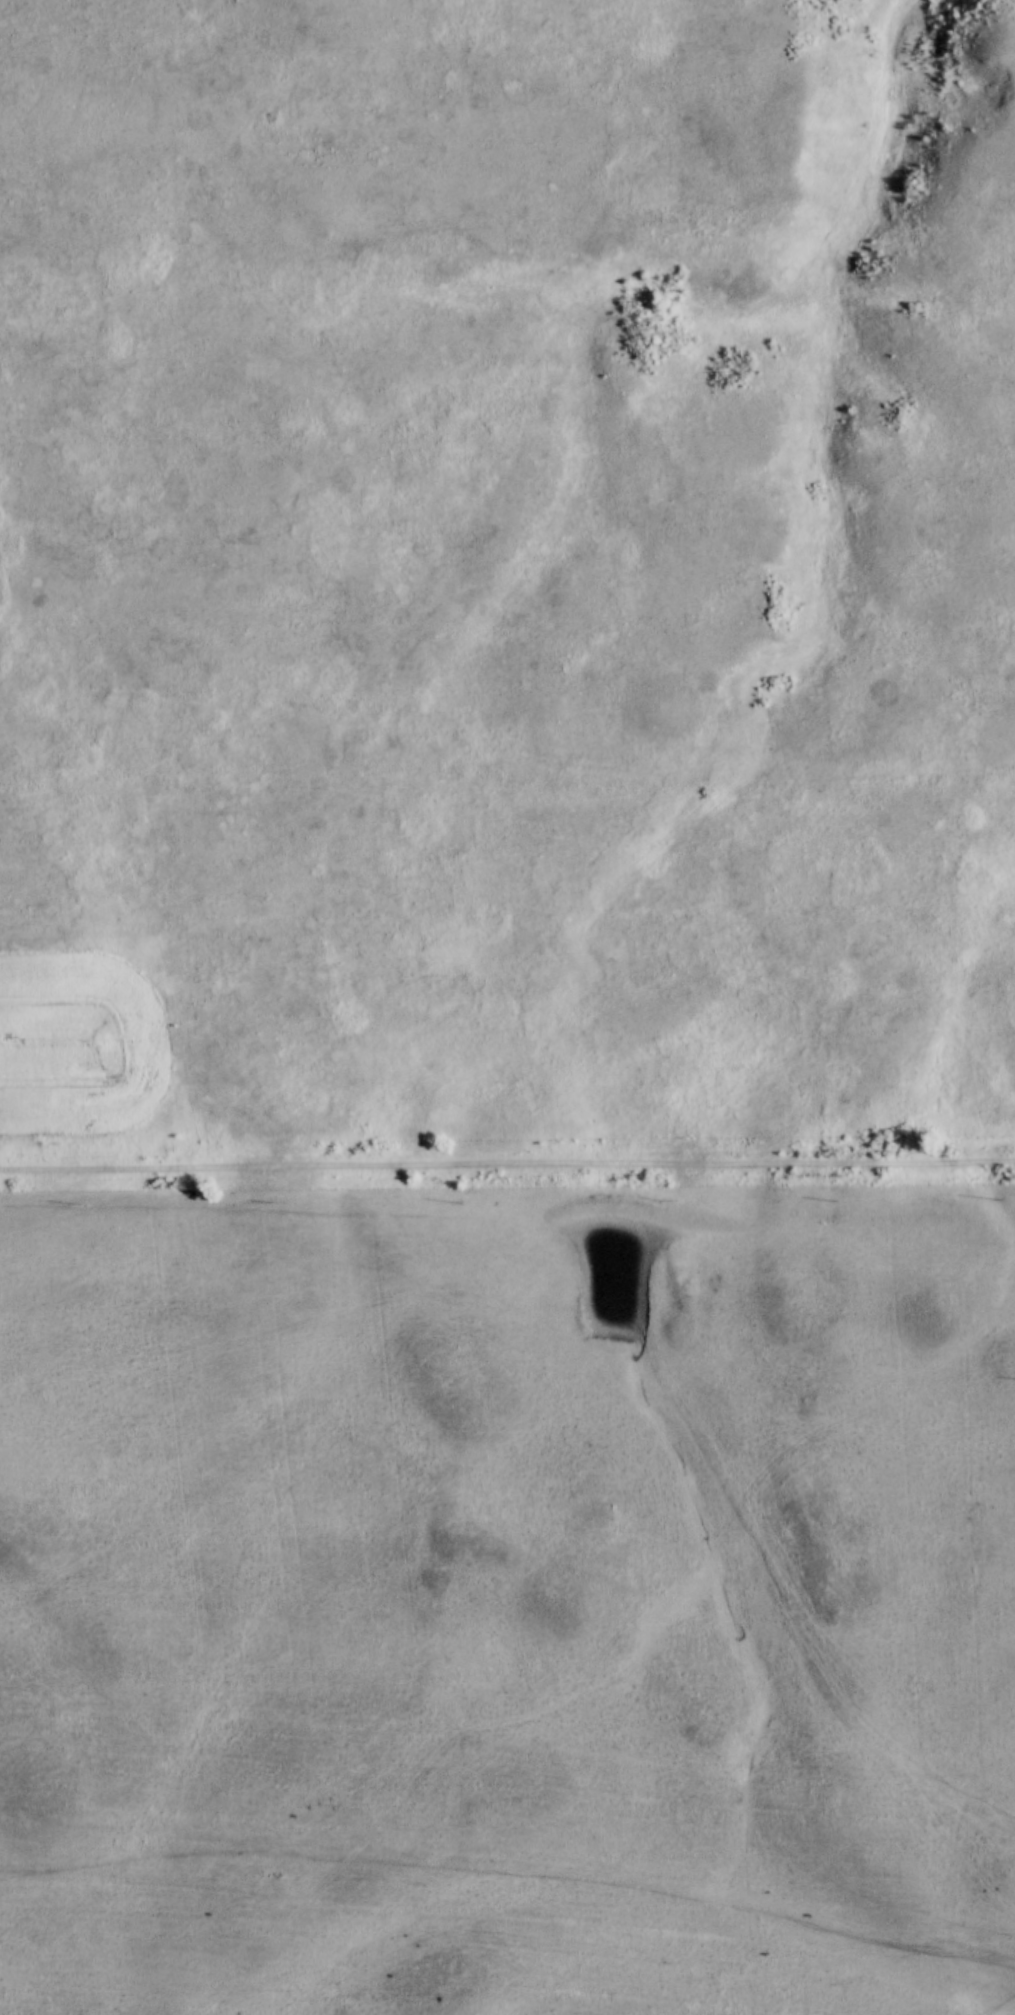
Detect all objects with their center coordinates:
road: (507, 1165)

